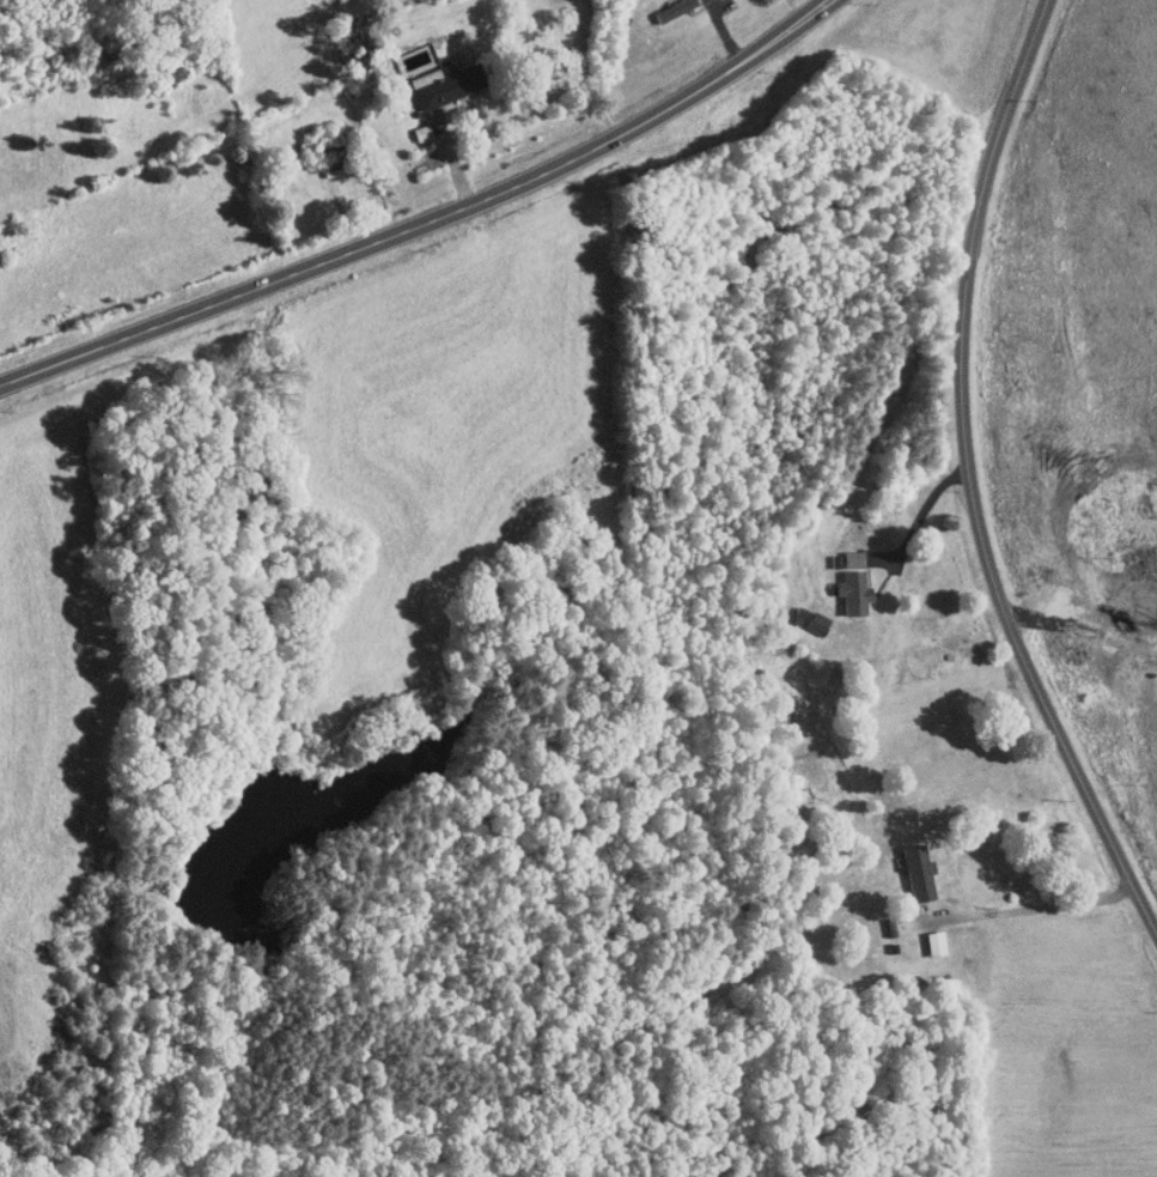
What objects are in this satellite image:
building: (672, 8)
building: (443, 84)
road: (428, 220)
road: (972, 478)
road: (921, 515)
building: (851, 583)
building: (816, 623)
building: (915, 872)
road: (1037, 906)
building: (933, 944)

